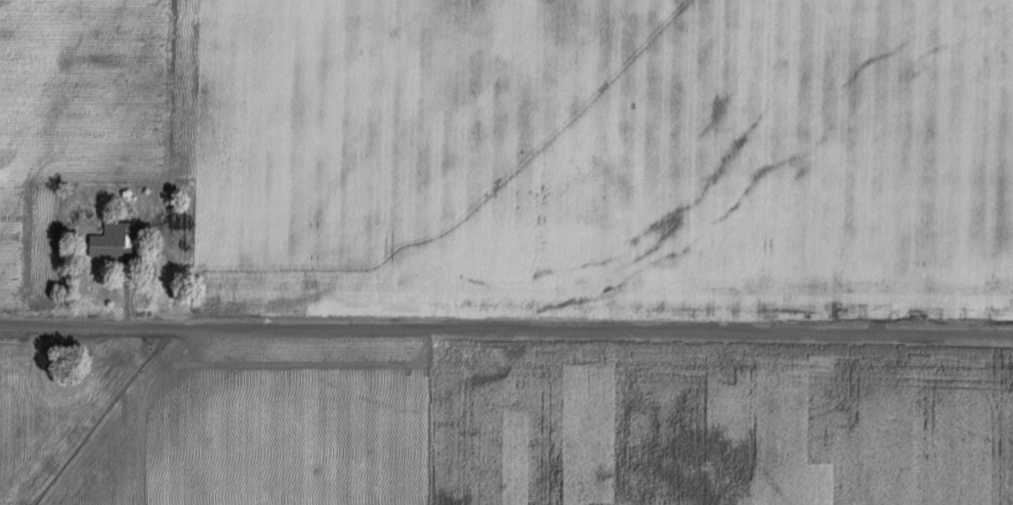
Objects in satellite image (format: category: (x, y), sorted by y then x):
road: (506, 329)

